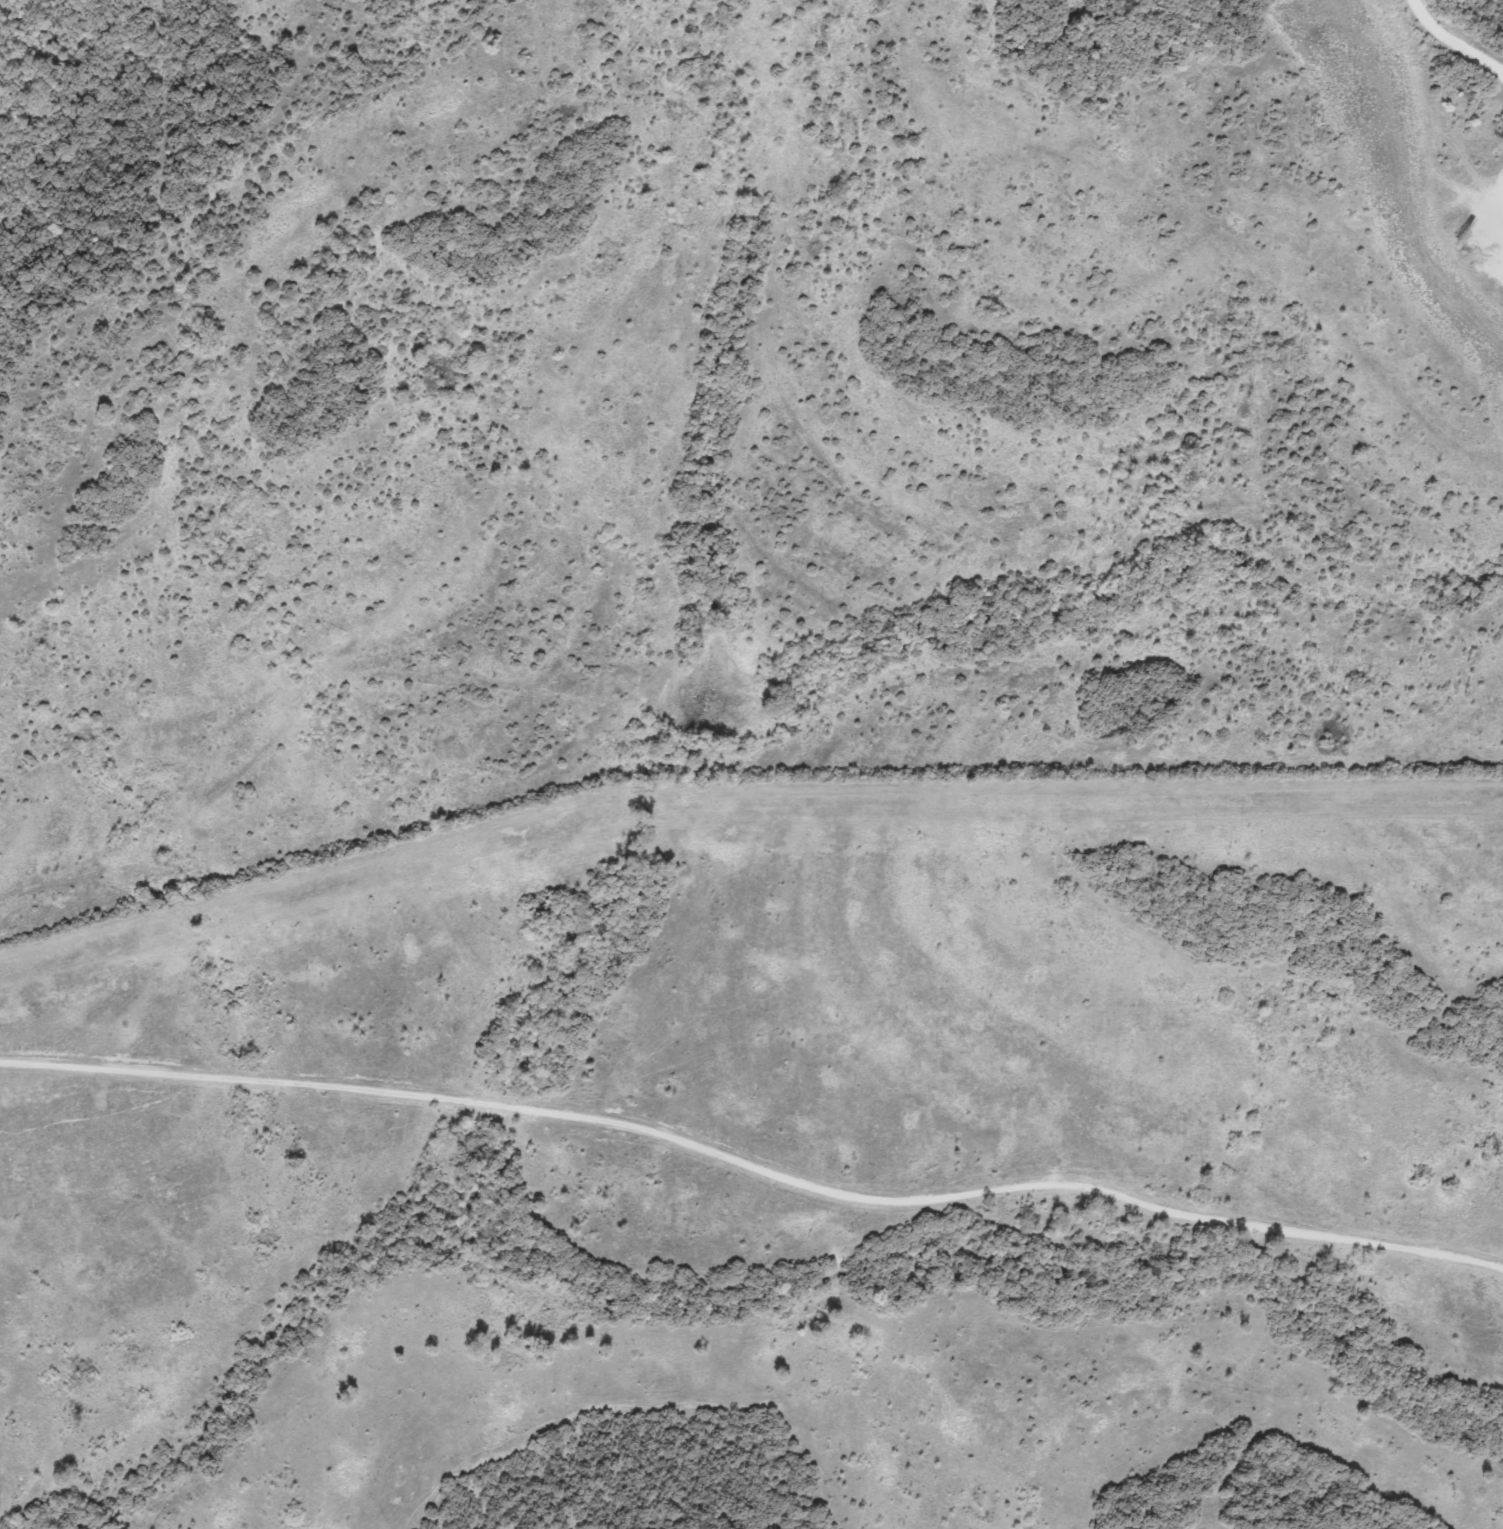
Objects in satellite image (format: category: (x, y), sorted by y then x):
road: (1458, 38)
road: (753, 1163)

